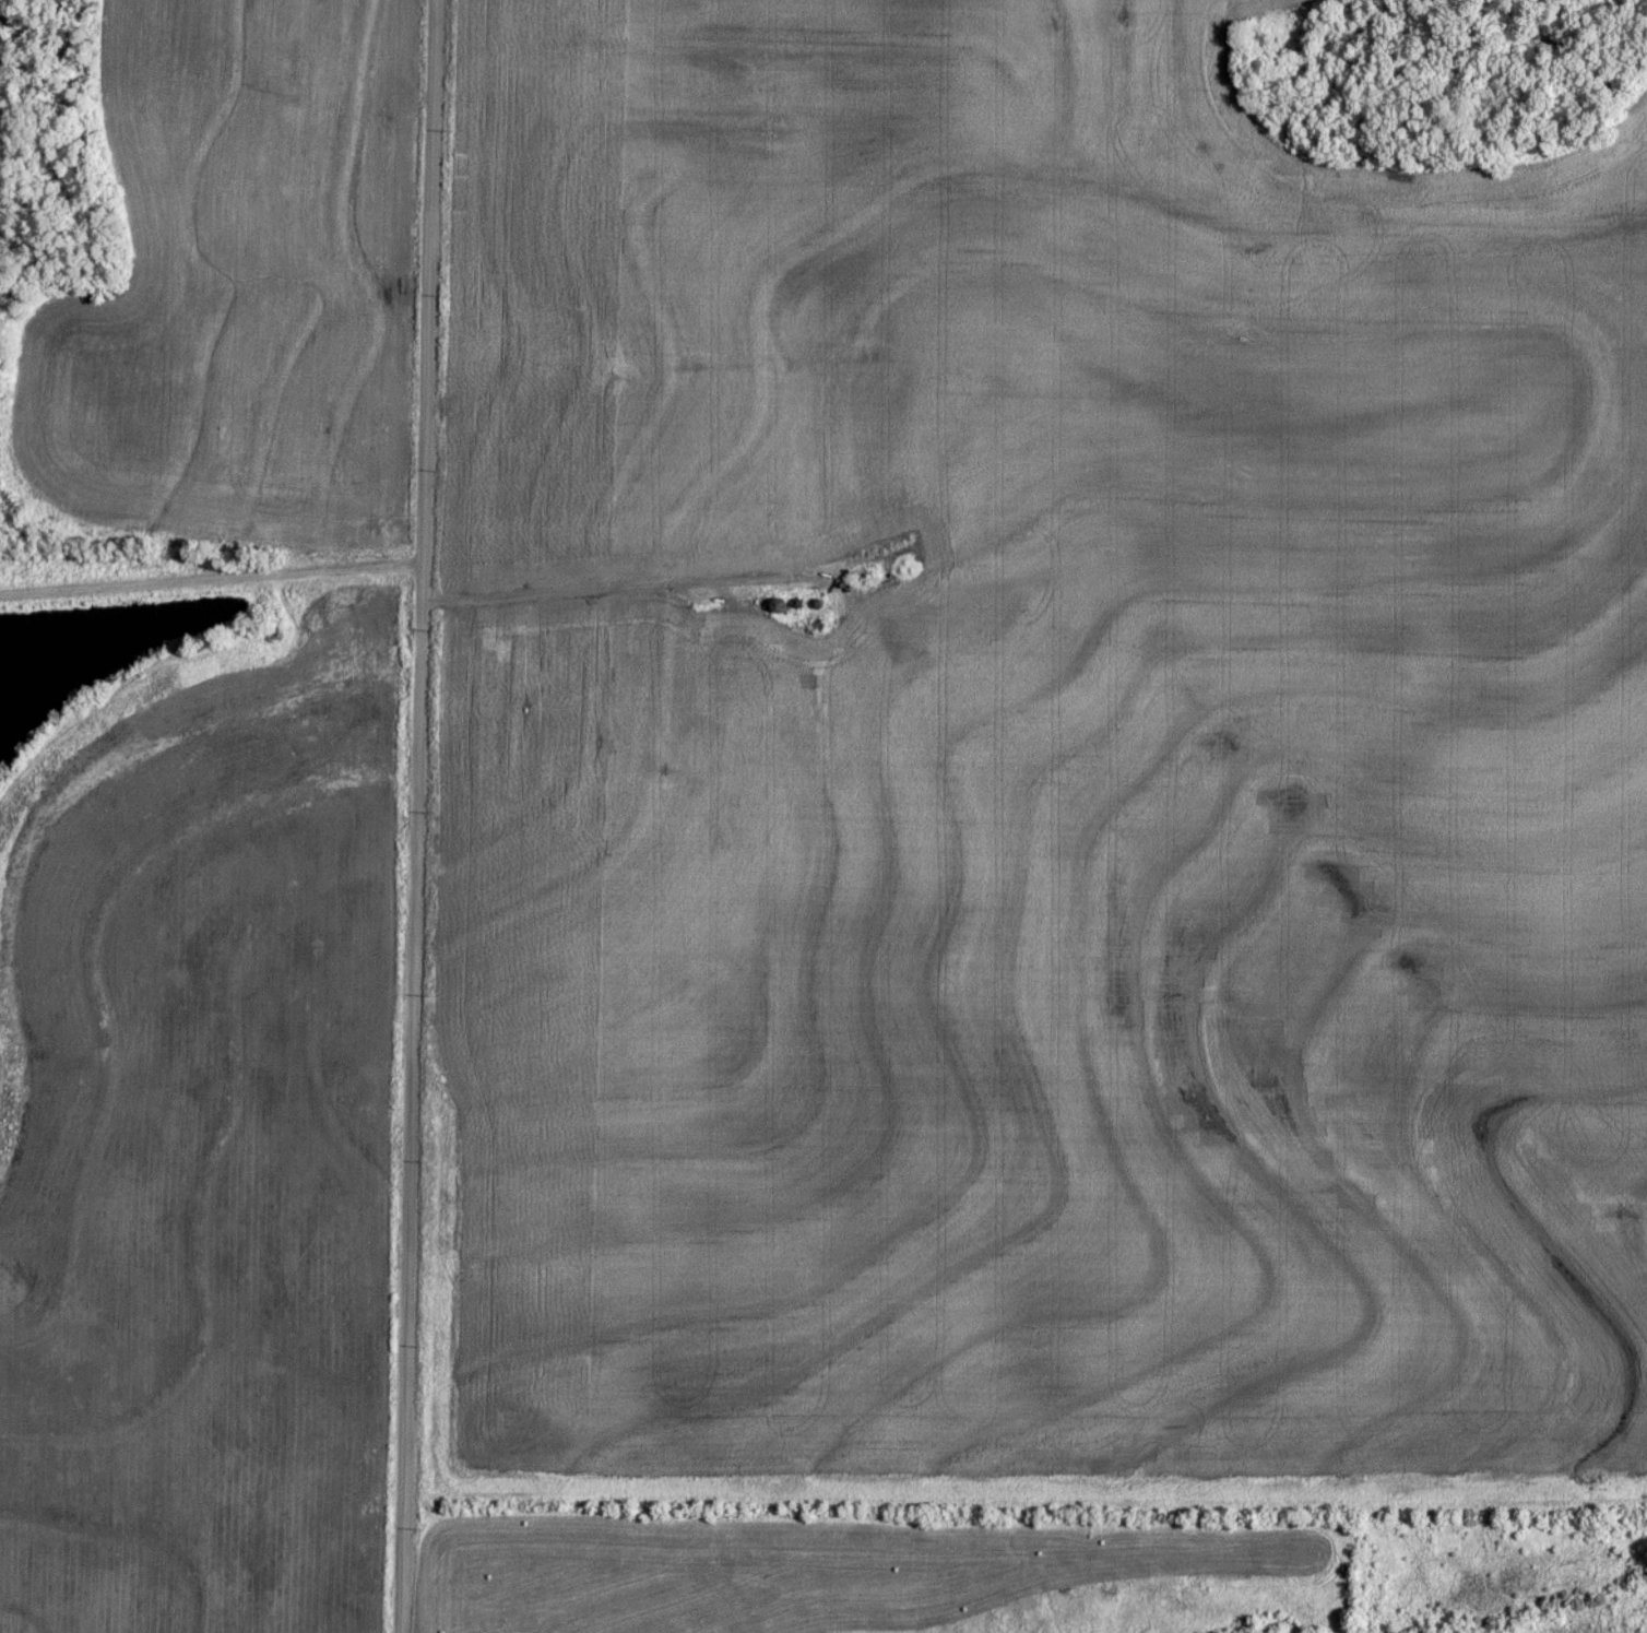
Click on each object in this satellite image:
road: (618, 597)
road: (415, 816)

